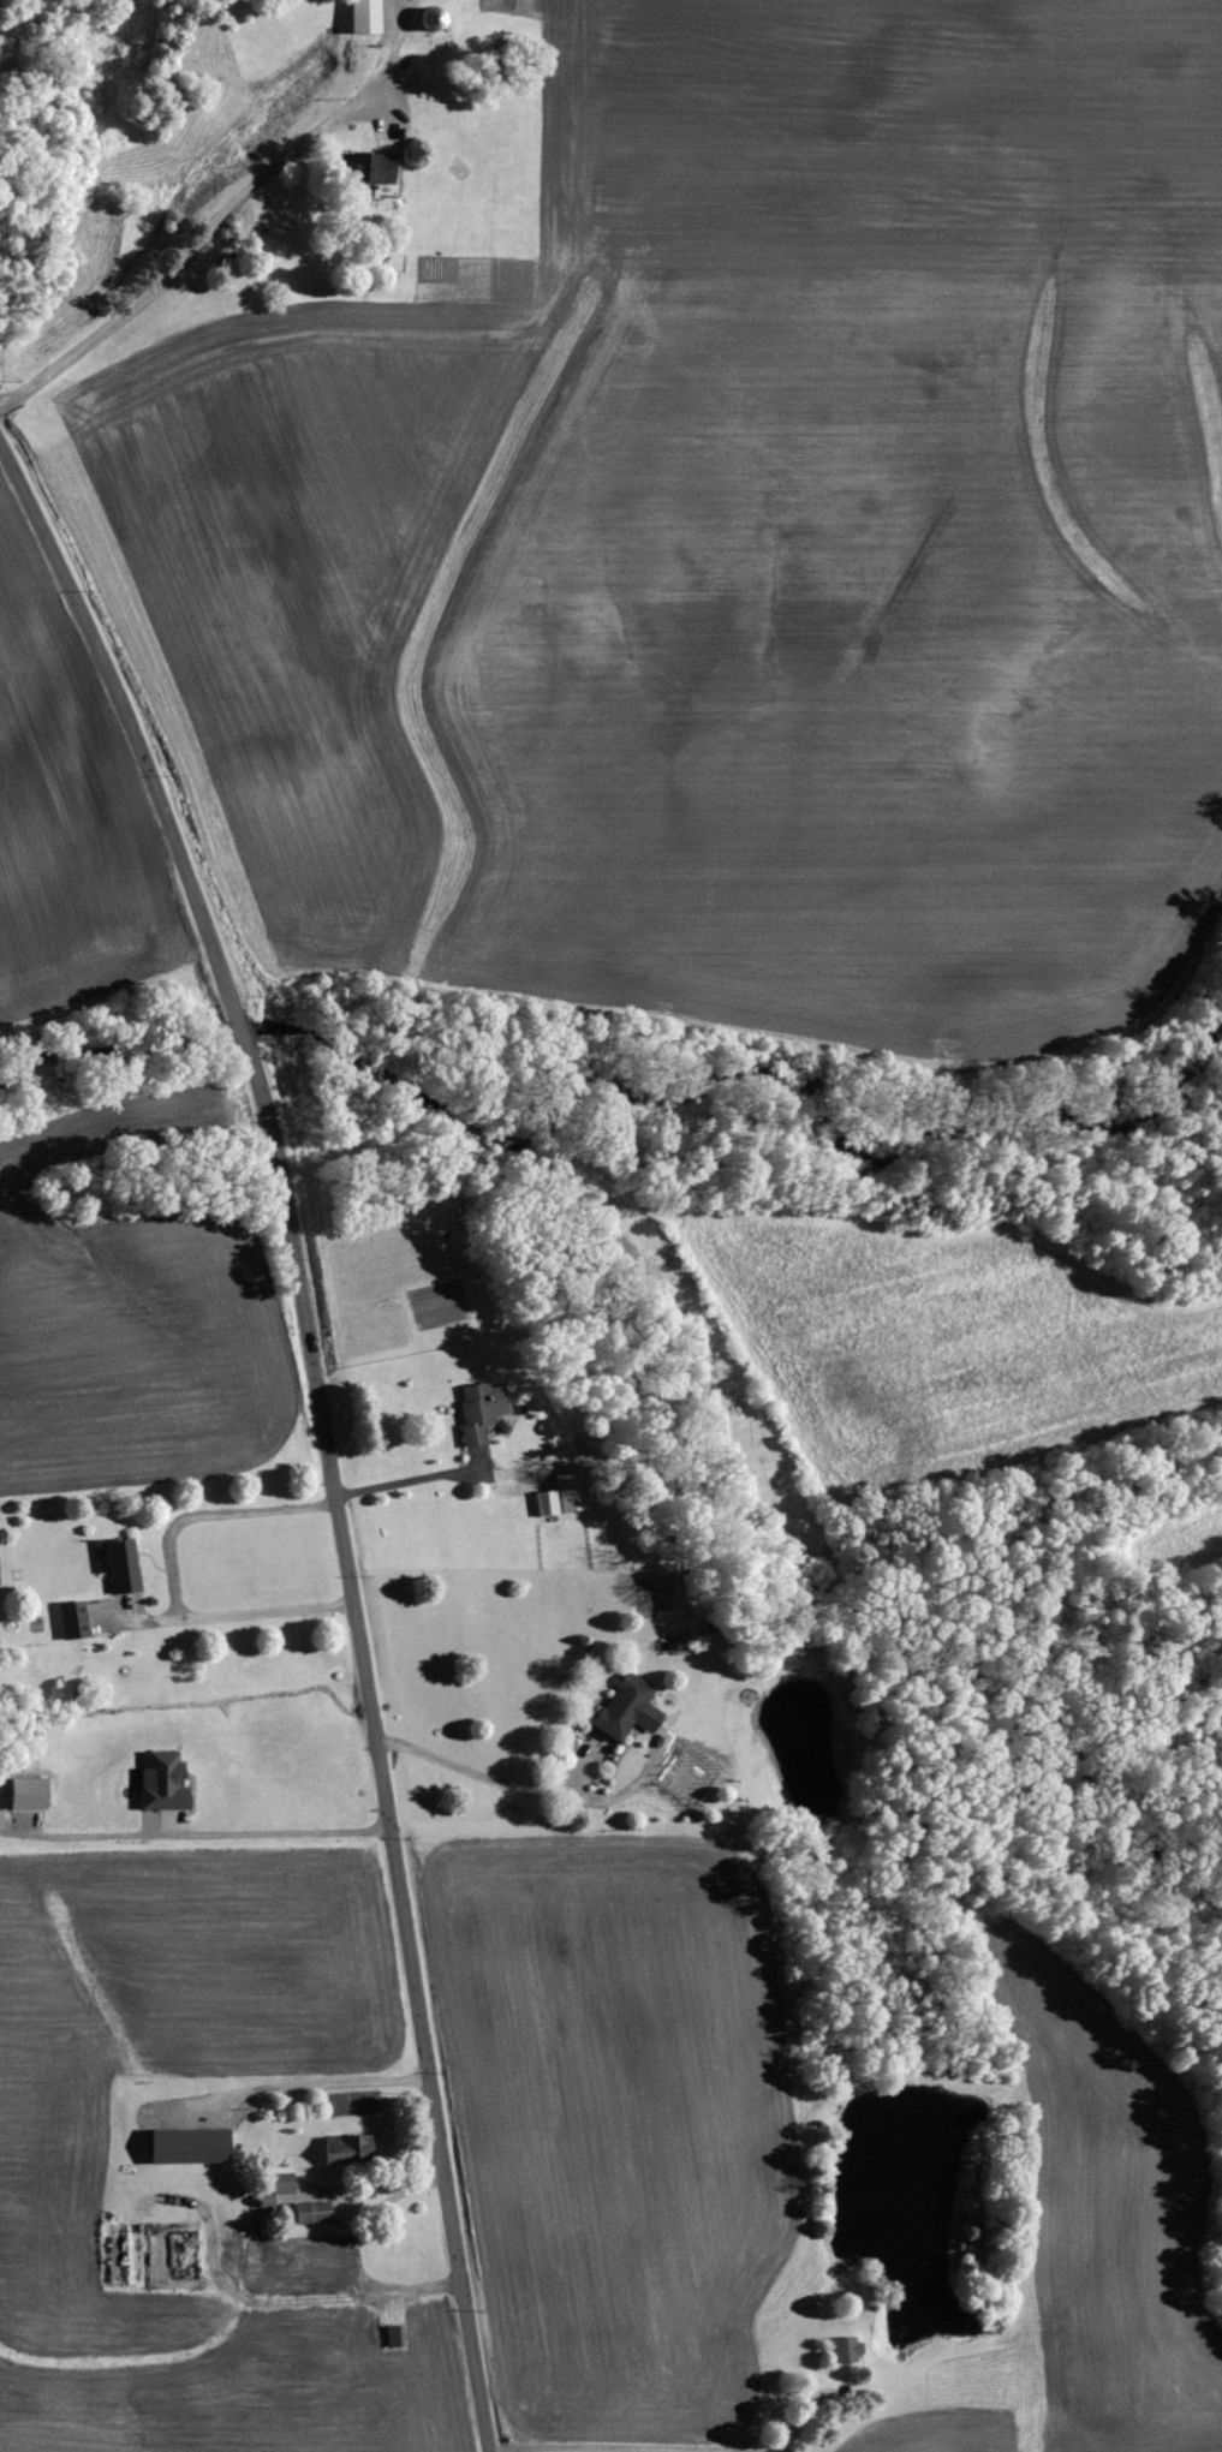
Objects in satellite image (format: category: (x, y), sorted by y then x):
building: (360, 17)
building: (365, 167)
road: (197, 239)
building: (476, 1410)
road: (320, 1428)
road: (405, 1482)
building: (118, 1568)
road: (168, 1575)
building: (68, 1621)
building: (624, 1710)
building: (680, 1768)
building: (707, 1780)
building: (159, 1783)
road: (525, 1791)
building: (23, 1795)
road: (275, 1833)
road: (322, 2083)
building: (184, 2146)
building: (345, 2148)
building: (279, 2183)
building: (305, 2212)
building: (393, 2335)
building: (842, 2349)

